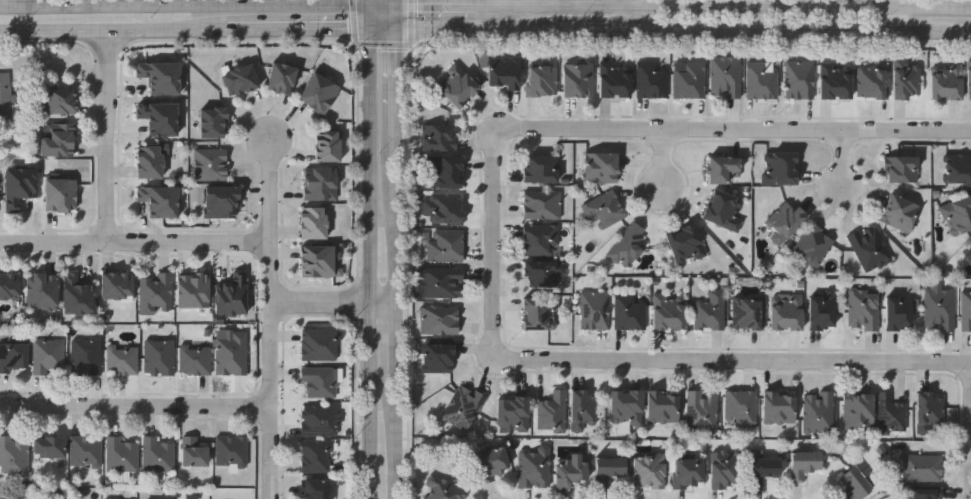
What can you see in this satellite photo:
road: (371, 2)
road: (397, 2)
traffic signals: (371, 4)
road: (384, 4)
traffic signals: (397, 5)
road: (440, 5)
road: (185, 6)
road: (726, 6)
road: (631, 15)
road: (371, 16)
road: (397, 16)
road: (355, 22)
road: (413, 22)
traffic signals: (371, 29)
traffic signals: (398, 29)
road: (301, 30)
road: (115, 31)
road: (670, 31)
road: (385, 44)
building: (504, 71)
building: (161, 76)
building: (726, 76)
building: (282, 77)
building: (241, 79)
building: (543, 79)
building: (579, 79)
building: (801, 79)
building: (907, 79)
building: (969, 79)
building: (615, 80)
building: (652, 80)
building: (690, 80)
building: (761, 80)
building: (836, 81)
building: (873, 82)
building: (947, 82)
building: (458, 86)
road: (398, 88)
building: (319, 93)
building: (5, 95)
building: (61, 100)
building: (159, 117)
building: (213, 122)
road: (737, 129)
road: (110, 137)
building: (439, 137)
building: (60, 139)
building: (327, 146)
road: (669, 160)
road: (844, 160)
building: (150, 161)
building: (211, 163)
building: (602, 167)
building: (725, 168)
building: (780, 168)
building: (959, 168)
building: (542, 169)
building: (901, 169)
building: (446, 172)
building: (322, 184)
building: (19, 186)
building: (61, 194)
building: (160, 200)
building: (222, 202)
building: (543, 204)
building: (447, 208)
building: (605, 209)
building: (725, 210)
building: (900, 212)
building: (958, 215)
building: (785, 222)
building: (314, 223)
road: (398, 225)
building: (542, 239)
road: (135, 243)
road: (497, 244)
building: (687, 244)
building: (446, 245)
building: (629, 245)
building: (815, 245)
building: (870, 247)
building: (969, 253)
building: (317, 260)
road: (371, 264)
road: (271, 272)
building: (544, 274)
building: (442, 282)
building: (9, 285)
building: (117, 285)
building: (194, 289)
building: (42, 291)
building: (157, 292)
building: (78, 294)
building: (232, 294)
road: (334, 302)
building: (596, 309)
building: (865, 309)
building: (940, 309)
building: (966, 310)
building: (711, 311)
building: (630, 312)
building: (669, 312)
building: (787, 312)
building: (823, 312)
building: (899, 312)
building: (541, 313)
building: (748, 314)
building: (440, 319)
road: (398, 336)
building: (319, 344)
building: (233, 353)
building: (13, 355)
building: (49, 355)
building: (86, 356)
building: (159, 357)
building: (440, 357)
building: (122, 359)
building: (195, 359)
road: (735, 360)
building: (319, 382)
road: (135, 406)
building: (664, 406)
building: (741, 406)
building: (464, 407)
building: (780, 407)
building: (626, 408)
building: (858, 408)
building: (584, 409)
building: (703, 410)
building: (929, 410)
building: (553, 411)
building: (819, 411)
building: (514, 413)
building: (891, 414)
building: (318, 419)
road: (398, 434)
building: (49, 445)
building: (194, 449)
building: (85, 450)
building: (232, 450)
road: (272, 453)
building: (122, 454)
building: (158, 454)
building: (14, 455)
building: (316, 456)
building: (492, 463)
building: (804, 463)
building: (535, 466)
building: (923, 467)
building: (609, 468)
building: (727, 468)
building: (570, 469)
building: (649, 470)
building: (764, 470)
building: (689, 471)
building: (856, 483)
building: (316, 489)
building: (445, 490)
building: (926, 493)
building: (115, 498)

